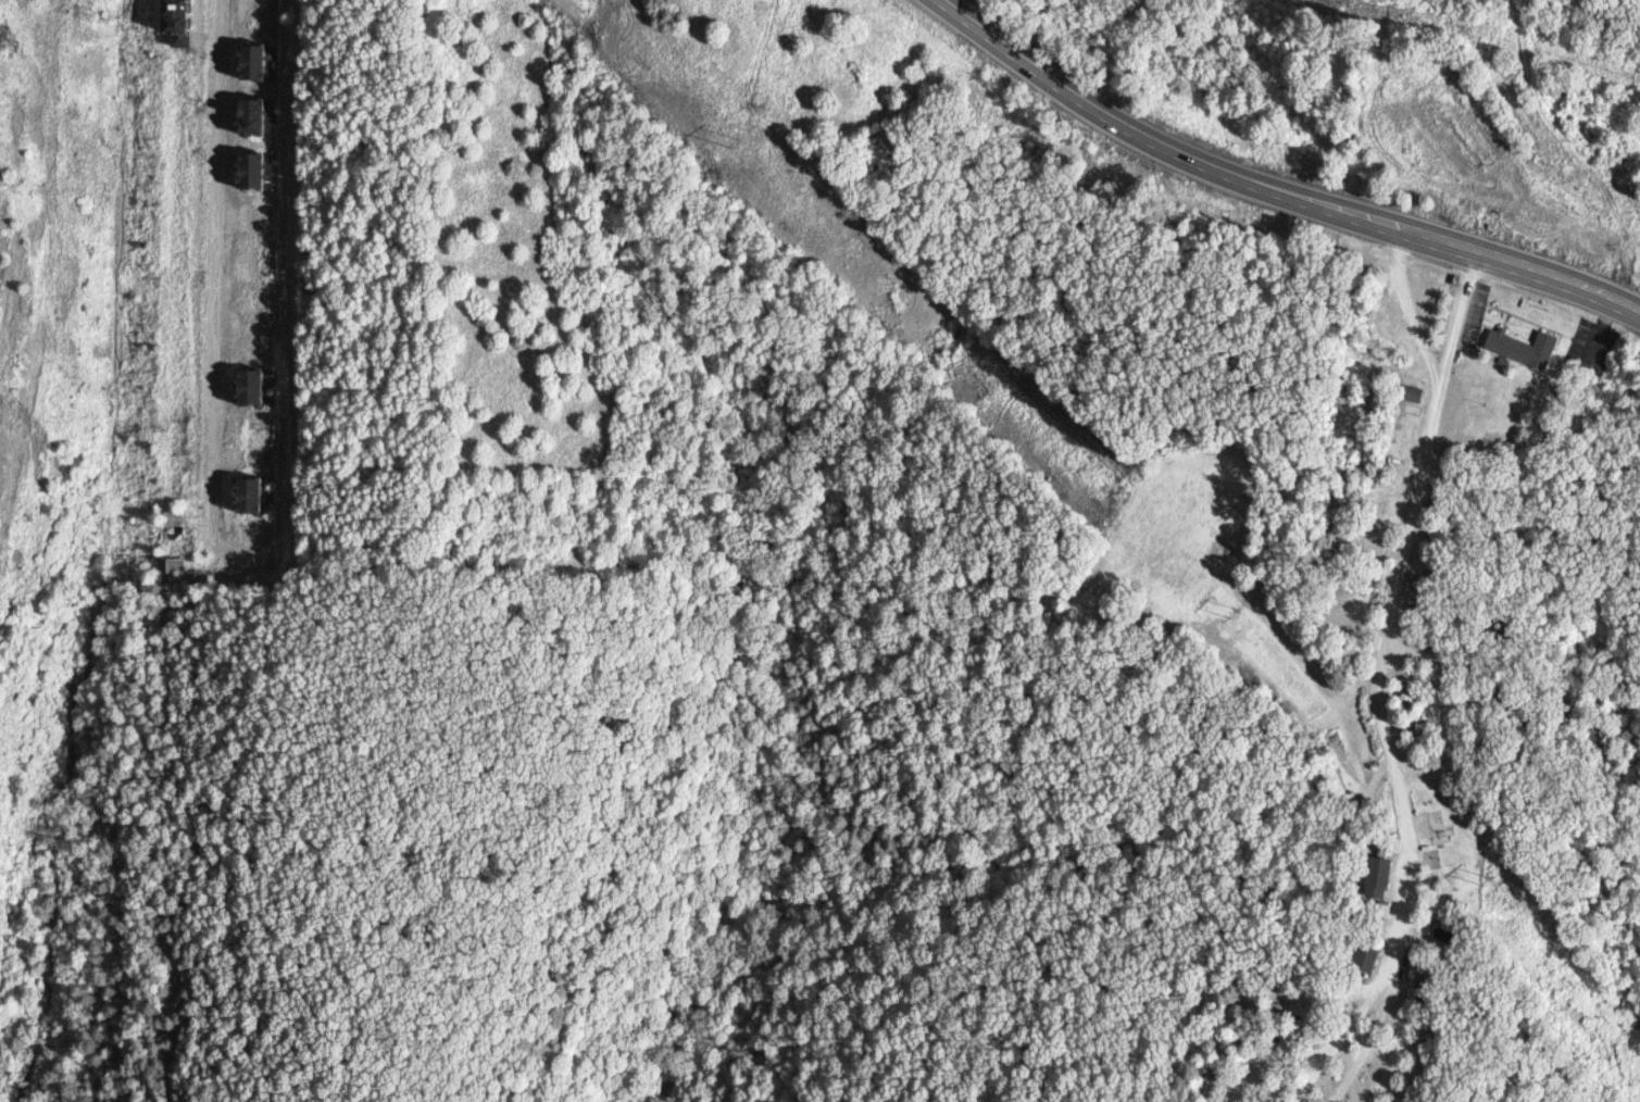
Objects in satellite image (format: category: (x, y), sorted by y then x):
building: (175, 20)
building: (246, 60)
building: (246, 115)
power tower: (740, 143)
road: (1194, 154)
building: (245, 168)
road: (1557, 278)
building: (1520, 347)
building: (240, 386)
building: (240, 493)
power tower: (1238, 614)
road: (1391, 629)
building: (1375, 877)
power tower: (1489, 880)
building: (1363, 957)
road: (1298, 1032)
road: (1406, 1050)
road: (1338, 1051)
road: (1370, 1056)
road: (1448, 1060)

